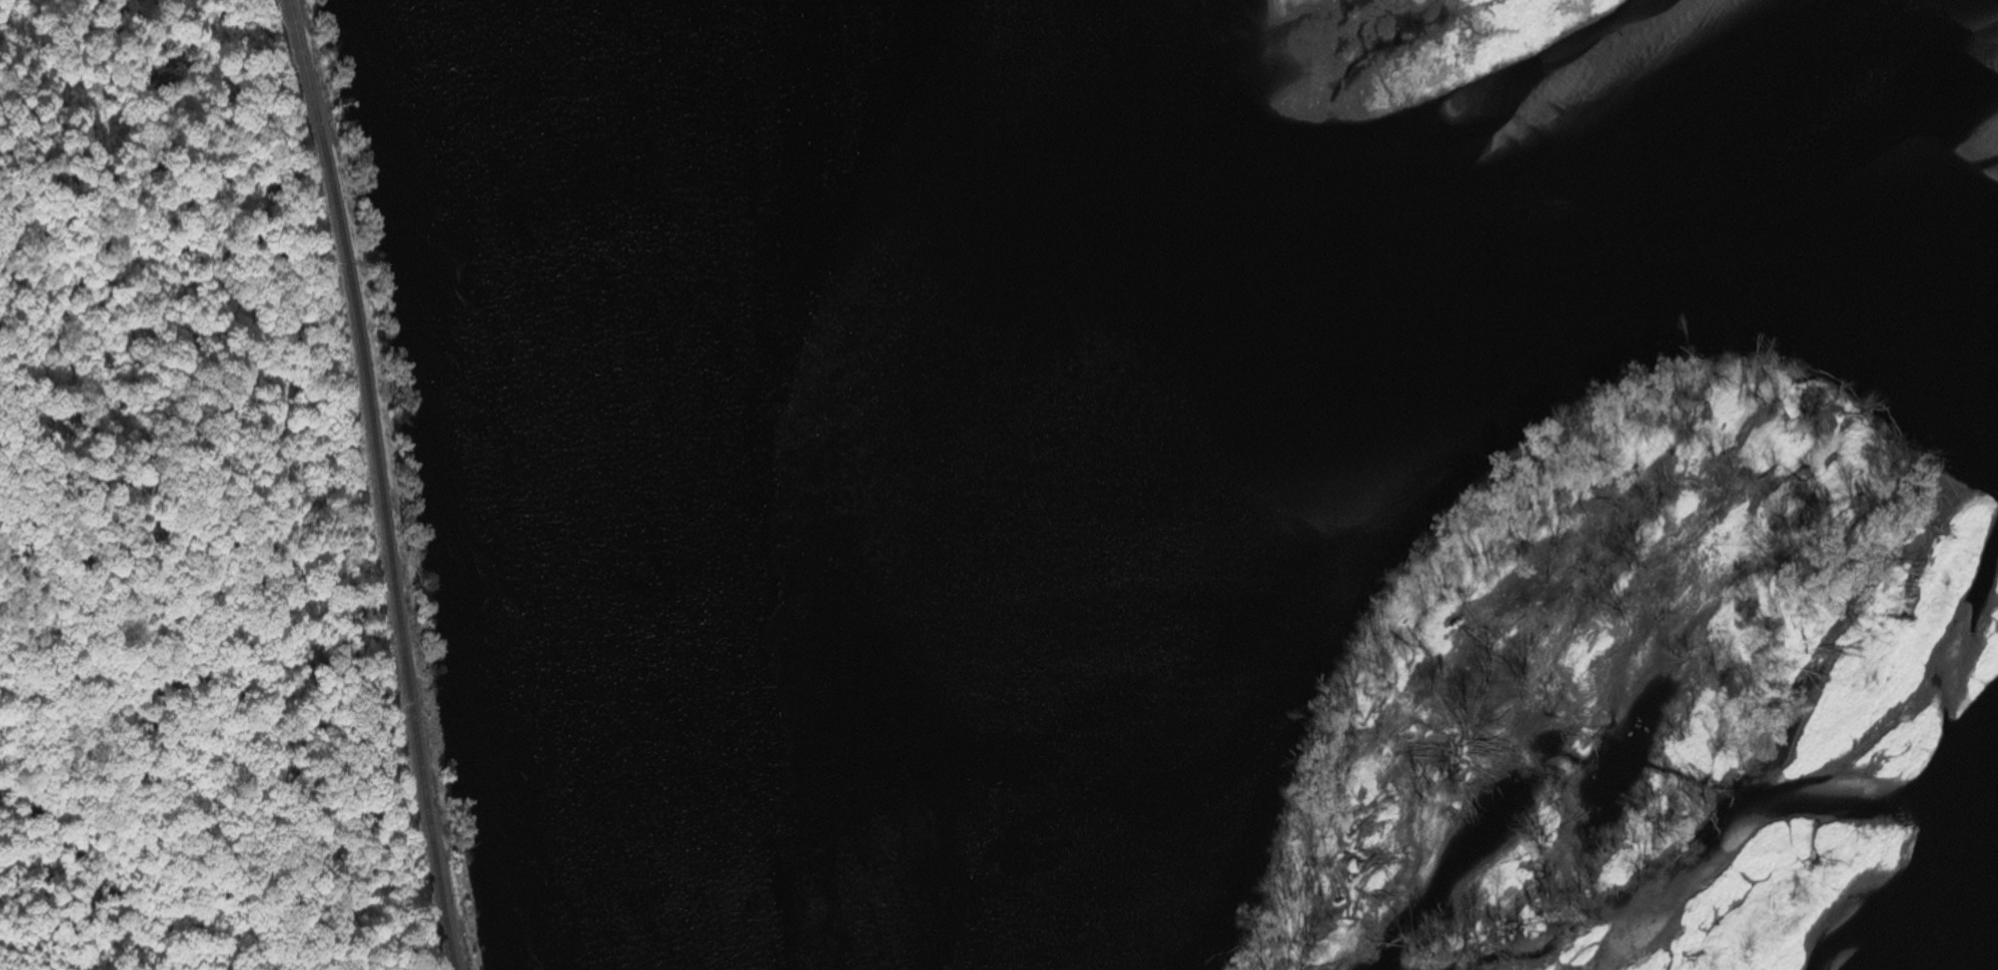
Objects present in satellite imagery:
railway: (380, 483)
river: (680, 484)
river: (1926, 911)

